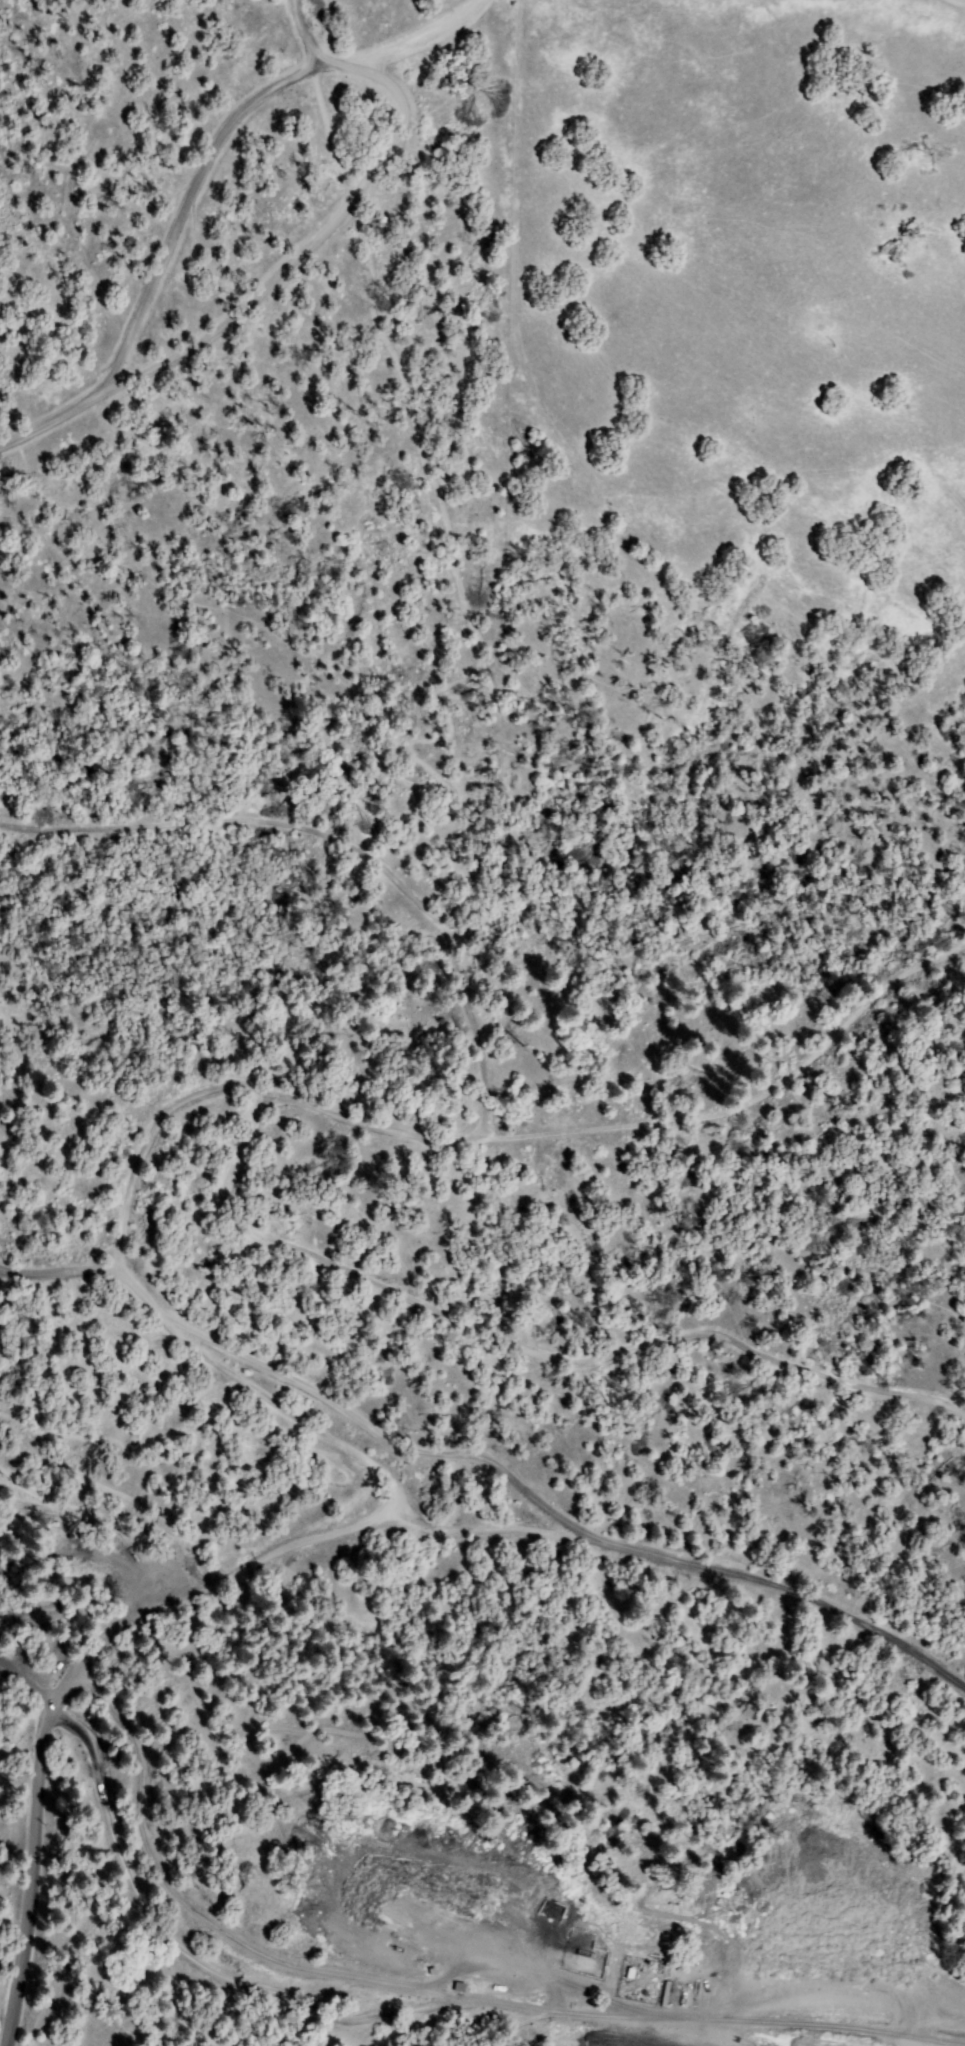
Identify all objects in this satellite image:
road: (284, 11)
road: (303, 42)
road: (91, 134)
road: (163, 255)
road: (886, 327)
road: (352, 846)
road: (308, 1105)
road: (60, 1268)
road: (527, 1348)
road: (324, 1533)
road: (431, 1991)

